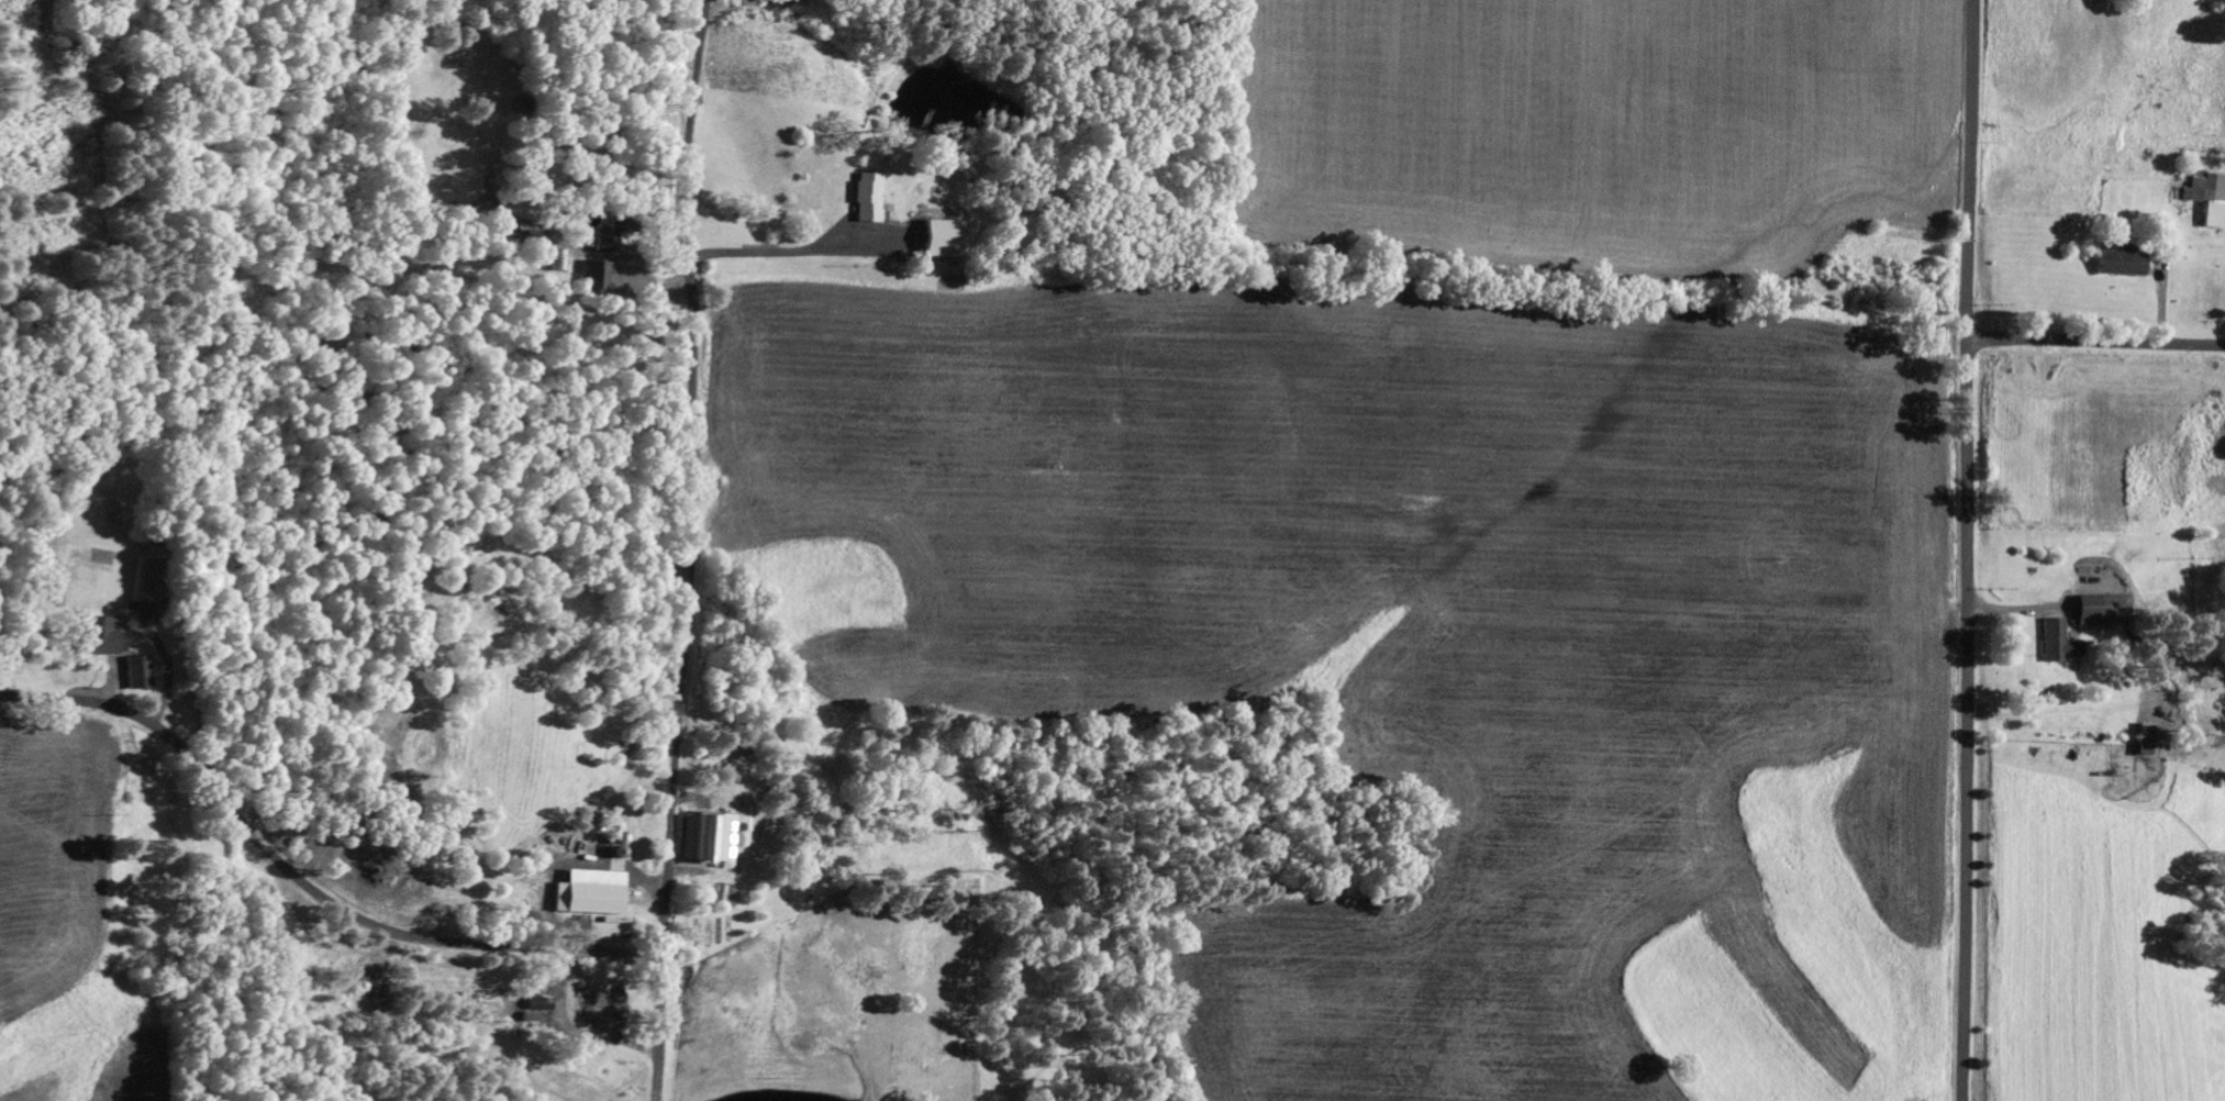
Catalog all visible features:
building: (2209, 196)
building: (869, 197)
building: (943, 238)
building: (600, 244)
building: (557, 259)
building: (2122, 262)
building: (594, 275)
road: (2095, 343)
road: (689, 496)
road: (1966, 549)
building: (146, 581)
building: (2096, 610)
building: (102, 638)
building: (2056, 643)
building: (137, 672)
building: (2141, 739)
building: (589, 891)
road: (355, 914)
building: (589, 1003)

